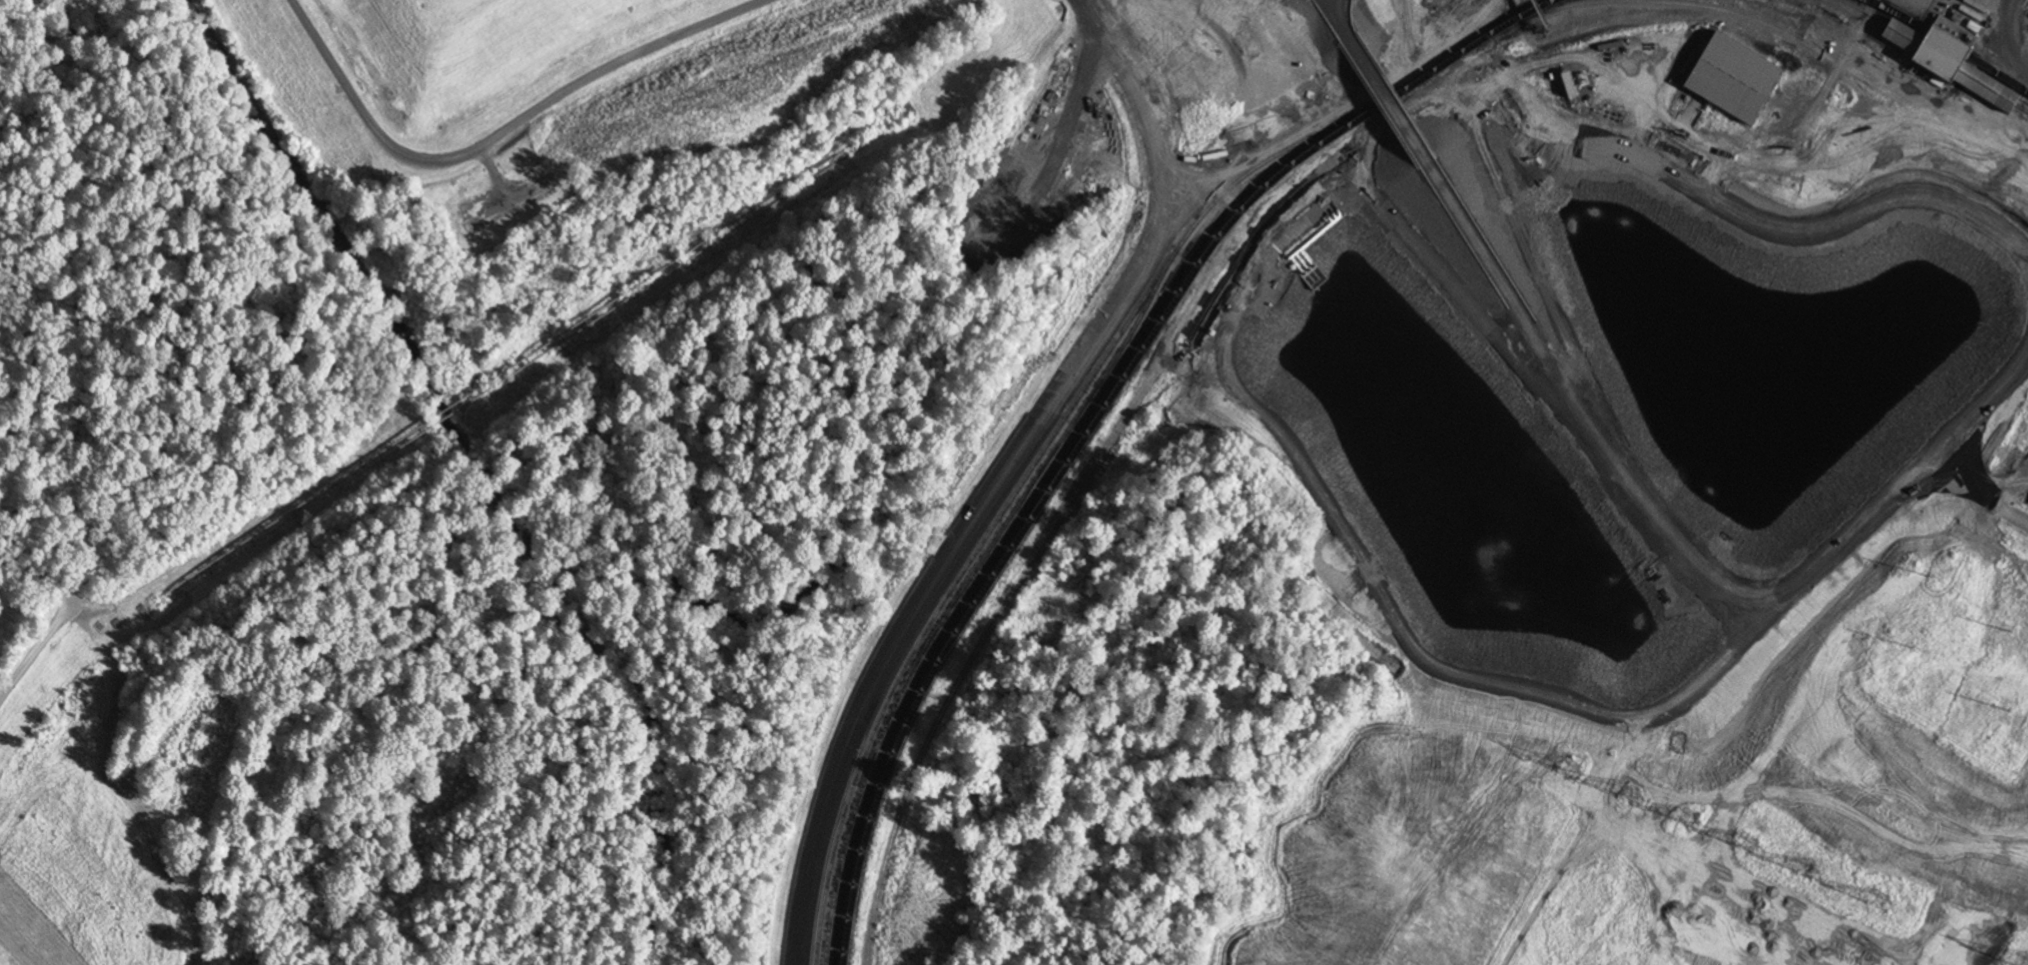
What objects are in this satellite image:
railway: (1771, 28)
road: (2004, 38)
railway: (1930, 56)
building: (1949, 64)
building: (1731, 79)
building: (1948, 133)
road: (499, 139)
road: (1227, 201)
road: (1730, 216)
railway: (1108, 399)
railway: (1038, 455)
railway: (1039, 486)
railway: (961, 589)
road: (38, 649)
power tower: (1570, 767)
power tower: (1632, 794)
power tower: (1689, 820)
power tower: (1749, 845)
power tower: (1811, 891)
power tower: (1880, 899)
power tower: (2027, 964)

